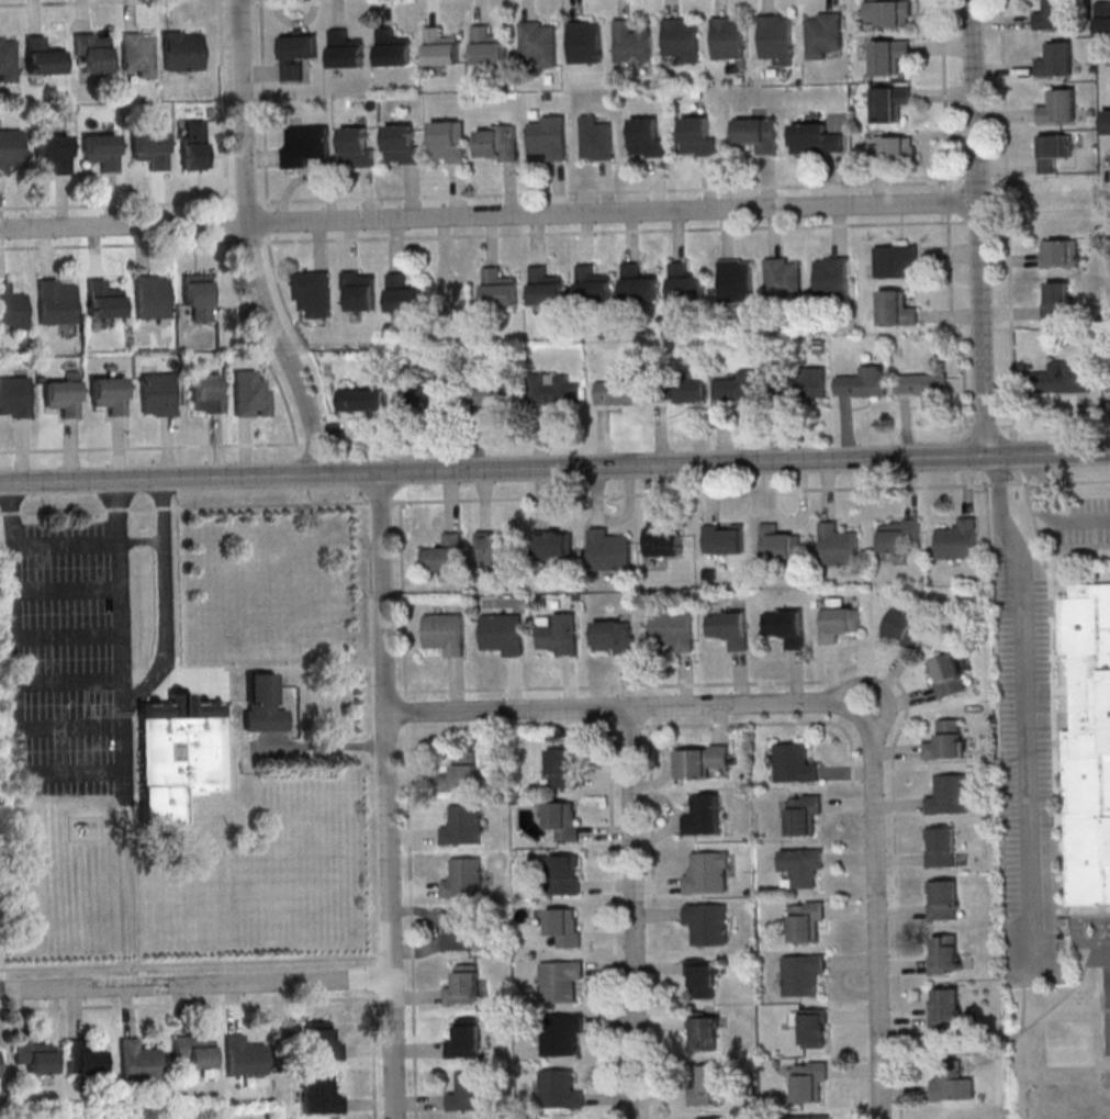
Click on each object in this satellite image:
road: (89, 2)
building: (889, 12)
building: (1054, 14)
building: (1103, 18)
building: (822, 34)
building: (775, 37)
building: (727, 38)
building: (681, 40)
building: (585, 42)
building: (539, 43)
building: (629, 44)
building: (487, 47)
building: (439, 48)
building: (392, 49)
building: (182, 51)
building: (298, 52)
building: (345, 52)
building: (91, 53)
building: (138, 54)
building: (889, 55)
building: (8, 58)
building: (42, 58)
building: (1056, 59)
road: (974, 101)
building: (892, 102)
building: (1058, 107)
building: (1107, 122)
building: (758, 133)
building: (697, 137)
building: (596, 138)
building: (647, 138)
building: (816, 138)
building: (548, 139)
building: (497, 143)
building: (447, 144)
building: (193, 145)
building: (305, 145)
building: (401, 145)
building: (356, 148)
building: (896, 148)
building: (10, 149)
building: (149, 150)
building: (1053, 150)
building: (53, 154)
building: (101, 154)
road: (266, 180)
road: (472, 194)
road: (1107, 198)
road: (487, 214)
road: (948, 217)
road: (1009, 217)
road: (606, 231)
road: (585, 238)
road: (248, 242)
road: (133, 245)
building: (1061, 253)
road: (229, 258)
building: (897, 260)
building: (832, 277)
building: (782, 278)
building: (737, 280)
building: (686, 284)
building: (593, 287)
building: (639, 288)
building: (498, 289)
building: (545, 289)
building: (359, 290)
building: (314, 293)
building: (198, 295)
building: (403, 295)
building: (149, 299)
building: (1057, 301)
building: (102, 302)
building: (54, 303)
building: (11, 307)
building: (897, 307)
road: (982, 328)
building: (1065, 377)
building: (806, 382)
building: (864, 382)
building: (922, 383)
building: (739, 388)
building: (554, 389)
building: (620, 390)
building: (689, 390)
building: (206, 392)
building: (109, 394)
building: (157, 394)
building: (250, 394)
building: (489, 394)
building: (426, 395)
building: (64, 396)
building: (14, 398)
building: (362, 399)
road: (986, 425)
road: (1007, 425)
road: (1016, 446)
road: (147, 447)
road: (554, 469)
road: (556, 496)
road: (117, 511)
road: (13, 513)
road: (1046, 514)
building: (899, 534)
building: (725, 538)
building: (960, 539)
building: (664, 540)
building: (556, 542)
building: (780, 542)
road: (66, 544)
building: (840, 545)
building: (493, 546)
building: (609, 550)
building: (444, 558)
road: (167, 605)
building: (839, 619)
building: (785, 626)
building: (728, 628)
building: (906, 628)
building: (671, 630)
building: (445, 633)
building: (502, 634)
building: (557, 634)
building: (613, 637)
building: (948, 675)
road: (878, 686)
road: (404, 700)
building: (264, 704)
road: (623, 707)
road: (1024, 709)
road: (615, 726)
building: (946, 740)
building: (1081, 740)
road: (319, 749)
building: (182, 752)
building: (700, 760)
building: (795, 763)
building: (561, 768)
road: (68, 772)
building: (463, 772)
building: (950, 794)
road: (388, 796)
building: (705, 814)
building: (804, 814)
building: (563, 819)
building: (463, 826)
building: (940, 846)
building: (801, 868)
building: (706, 871)
building: (564, 874)
building: (463, 879)
building: (942, 899)
road: (632, 913)
road: (876, 914)
building: (807, 921)
building: (707, 922)
building: (564, 926)
building: (456, 930)
building: (944, 953)
building: (801, 973)
building: (702, 977)
building: (559, 980)
building: (463, 985)
road: (195, 986)
building: (945, 1006)
building: (812, 1027)
building: (705, 1031)
building: (561, 1032)
building: (466, 1039)
building: (321, 1042)
building: (195, 1053)
building: (35, 1055)
building: (244, 1056)
building: (85, 1060)
building: (0, 1061)
building: (137, 1062)
building: (809, 1081)
building: (710, 1085)
building: (952, 1085)
building: (560, 1089)
building: (471, 1092)
building: (321, 1095)
building: (807, 1117)
building: (716, 1118)

